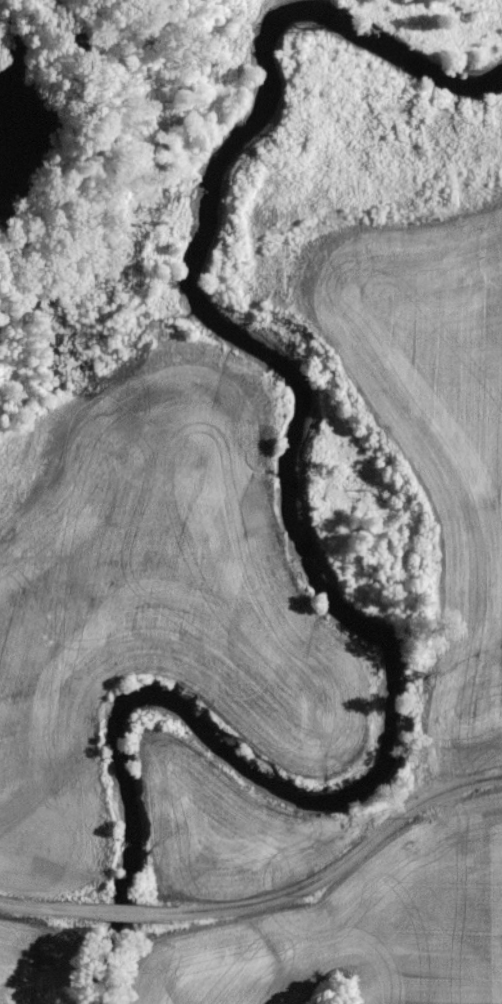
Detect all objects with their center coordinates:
road: (266, 902)

